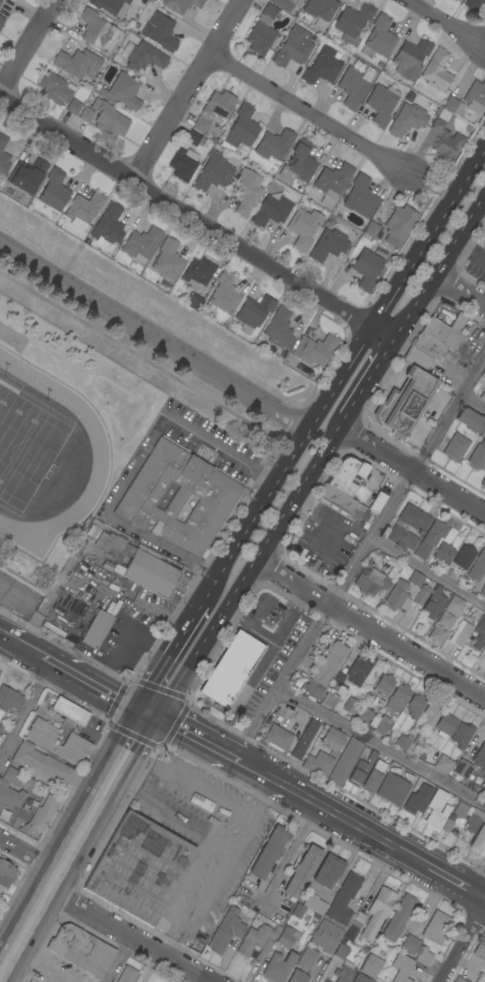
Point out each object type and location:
building: (454, 0)
building: (1, 1)
building: (459, 1)
building: (284, 4)
building: (473, 4)
building: (181, 5)
building: (111, 6)
building: (320, 8)
building: (1, 21)
building: (352, 22)
road: (446, 23)
building: (97, 31)
building: (160, 32)
building: (262, 32)
building: (380, 37)
road: (25, 43)
building: (293, 47)
building: (143, 56)
building: (410, 58)
building: (78, 63)
building: (323, 67)
building: (437, 71)
building: (352, 87)
building: (55, 88)
road: (190, 89)
building: (122, 92)
building: (475, 97)
building: (381, 103)
building: (452, 105)
building: (73, 107)
building: (214, 110)
building: (86, 114)
road: (309, 114)
building: (108, 119)
building: (407, 120)
building: (241, 129)
building: (192, 138)
building: (445, 139)
building: (274, 145)
building: (3, 156)
building: (299, 163)
building: (183, 164)
building: (213, 172)
building: (27, 175)
building: (332, 183)
building: (54, 190)
building: (246, 192)
building: (360, 197)
building: (84, 208)
building: (271, 211)
road: (186, 212)
building: (398, 225)
building: (108, 226)
building: (303, 228)
building: (371, 229)
building: (483, 233)
road: (428, 236)
building: (141, 244)
building: (328, 245)
road: (470, 250)
building: (380, 252)
building: (168, 260)
road: (438, 266)
building: (366, 269)
building: (199, 273)
road: (460, 288)
building: (224, 295)
building: (193, 302)
building: (253, 313)
building: (279, 329)
building: (446, 332)
road: (381, 334)
road: (152, 336)
building: (429, 346)
building: (314, 349)
building: (417, 359)
road: (375, 365)
building: (483, 374)
building: (483, 395)
road: (473, 400)
building: (403, 403)
building: (470, 420)
building: (482, 434)
park: (25, 446)
building: (455, 447)
track: (98, 454)
building: (477, 456)
road: (135, 465)
road: (410, 470)
building: (347, 474)
road: (276, 476)
building: (177, 498)
building: (376, 501)
building: (340, 502)
road: (284, 514)
building: (414, 517)
building: (367, 518)
building: (93, 531)
building: (402, 538)
building: (430, 539)
building: (443, 553)
road: (358, 557)
building: (464, 557)
building: (140, 565)
road: (428, 571)
building: (479, 571)
building: (416, 579)
building: (370, 581)
parking lot: (4, 583)
building: (421, 594)
building: (397, 596)
building: (434, 603)
building: (455, 604)
road: (12, 607)
building: (445, 619)
building: (54, 628)
road: (247, 628)
building: (97, 629)
road: (370, 630)
building: (477, 632)
building: (436, 634)
road: (21, 645)
building: (484, 649)
road: (48, 661)
building: (231, 669)
road: (259, 669)
building: (325, 670)
building: (358, 671)
road: (176, 673)
building: (384, 685)
road: (102, 689)
building: (9, 698)
building: (329, 699)
building: (397, 699)
building: (350, 705)
building: (415, 705)
building: (70, 711)
road: (27, 713)
traffic signals: (150, 714)
building: (364, 715)
building: (429, 715)
building: (380, 724)
building: (446, 725)
building: (1, 728)
building: (41, 733)
building: (461, 735)
road: (193, 737)
building: (278, 738)
building: (305, 739)
building: (333, 741)
building: (403, 741)
road: (380, 743)
building: (71, 749)
building: (480, 755)
road: (125, 756)
building: (372, 756)
building: (345, 762)
building: (40, 763)
building: (318, 763)
building: (443, 764)
building: (461, 770)
building: (357, 773)
building: (373, 776)
building: (10, 789)
building: (392, 789)
building: (484, 791)
building: (418, 798)
building: (437, 809)
building: (43, 814)
road: (332, 815)
building: (474, 817)
road: (171, 818)
building: (478, 840)
building: (268, 853)
road: (30, 854)
road: (287, 857)
building: (139, 868)
road: (222, 871)
building: (328, 871)
building: (302, 872)
building: (6, 874)
road: (457, 886)
road: (49, 888)
building: (344, 900)
building: (315, 905)
building: (298, 911)
building: (378, 912)
building: (399, 918)
building: (358, 920)
building: (437, 928)
building: (221, 935)
road: (128, 936)
building: (326, 936)
building: (257, 941)
road: (462, 942)
building: (410, 944)
building: (81, 950)
building: (341, 951)
building: (479, 951)
building: (291, 953)
building: (423, 956)
road: (116, 959)
building: (307, 959)
building: (371, 966)
building: (402, 967)
building: (344, 972)
building: (127, 975)
building: (298, 976)
building: (360, 979)
building: (459, 980)
building: (328, 981)

